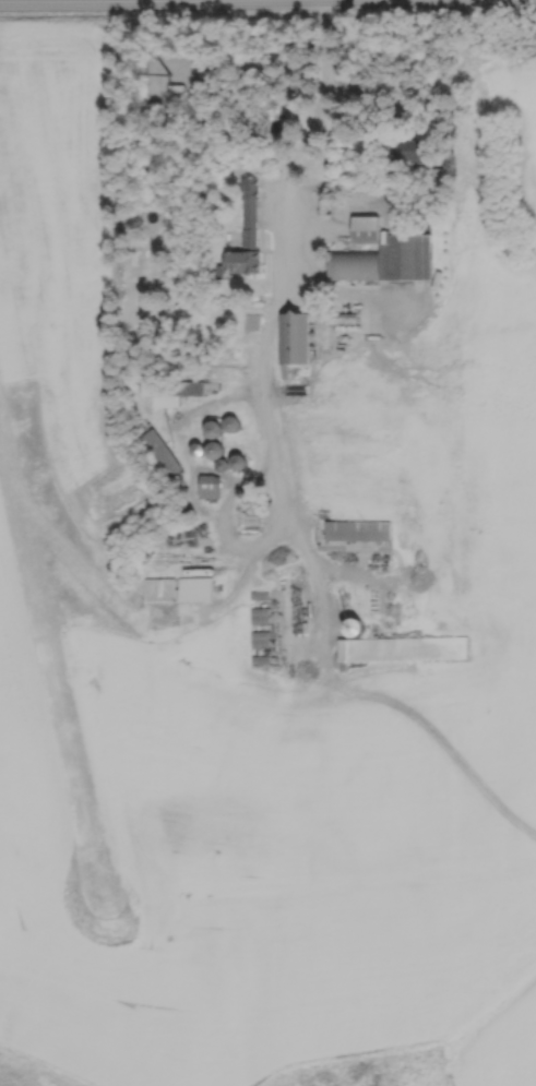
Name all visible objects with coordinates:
road: (330, 1)
road: (267, 2)
building: (177, 89)
building: (408, 150)
building: (248, 213)
building: (383, 255)
building: (242, 262)
road: (271, 315)
building: (252, 322)
building: (295, 355)
building: (170, 392)
building: (223, 428)
building: (216, 451)
building: (160, 452)
building: (240, 463)
building: (209, 484)
building: (357, 530)
airport hangar: (176, 589)
building: (176, 589)
building: (258, 594)
building: (259, 616)
building: (260, 639)
building: (396, 644)
airport runway: (49, 665)
park: (371, 1070)
park: (26, 1074)

